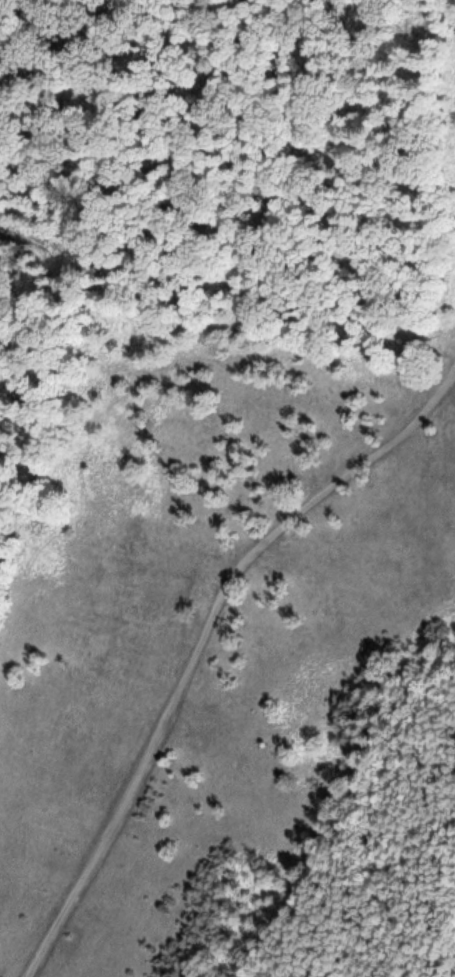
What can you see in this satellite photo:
road: (199, 635)

